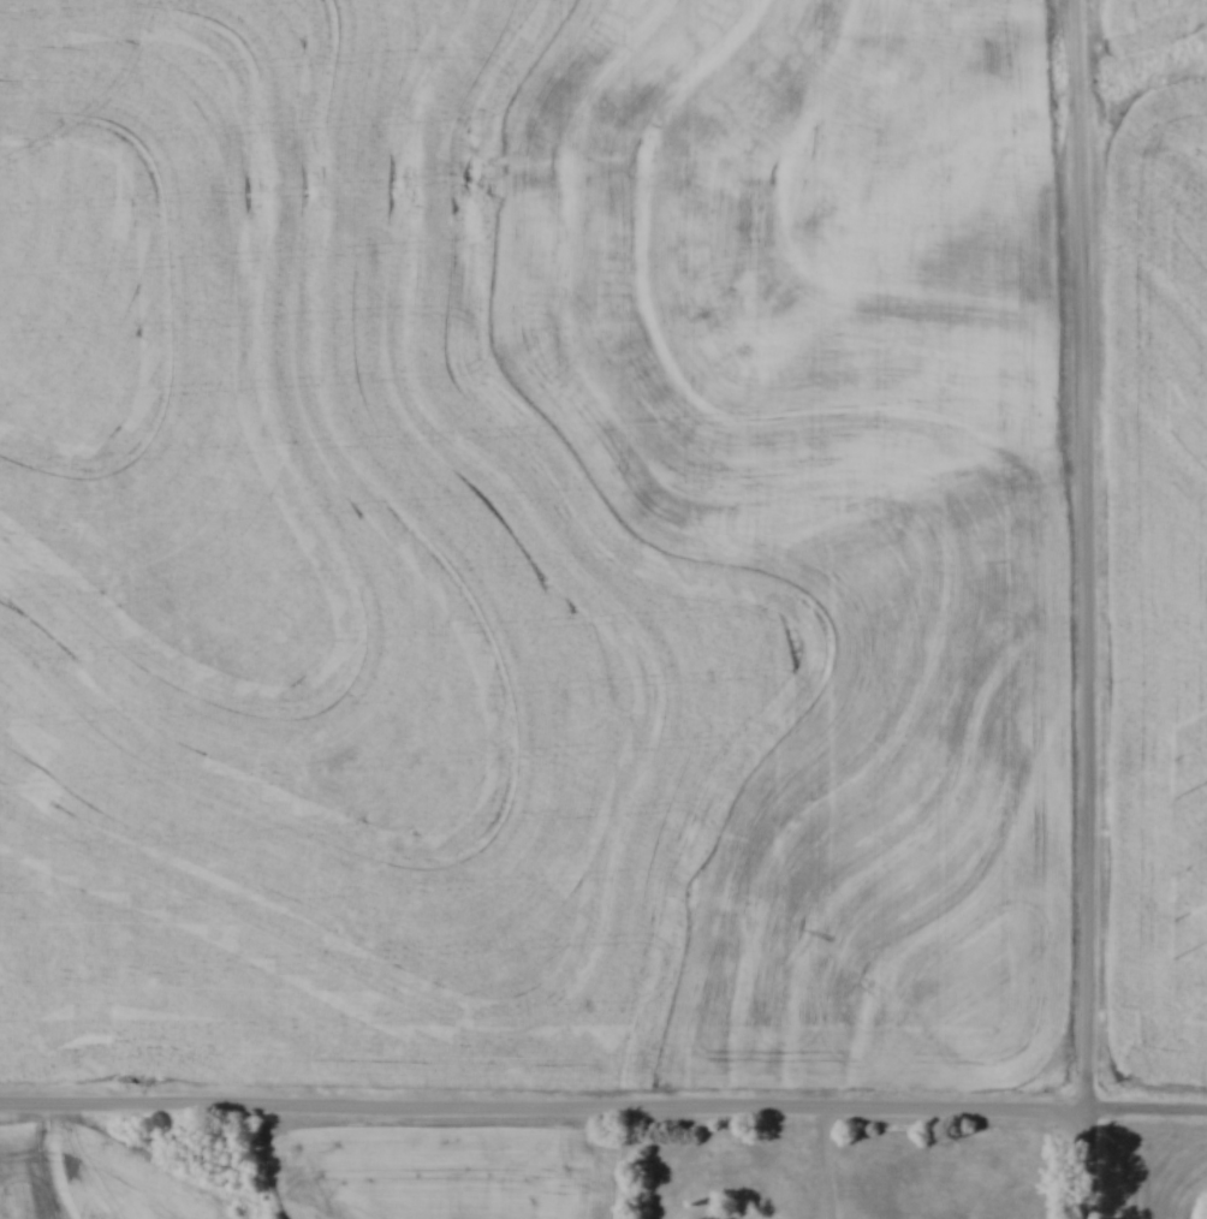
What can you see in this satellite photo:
road: (1090, 609)
road: (603, 1106)
road: (832, 1162)

